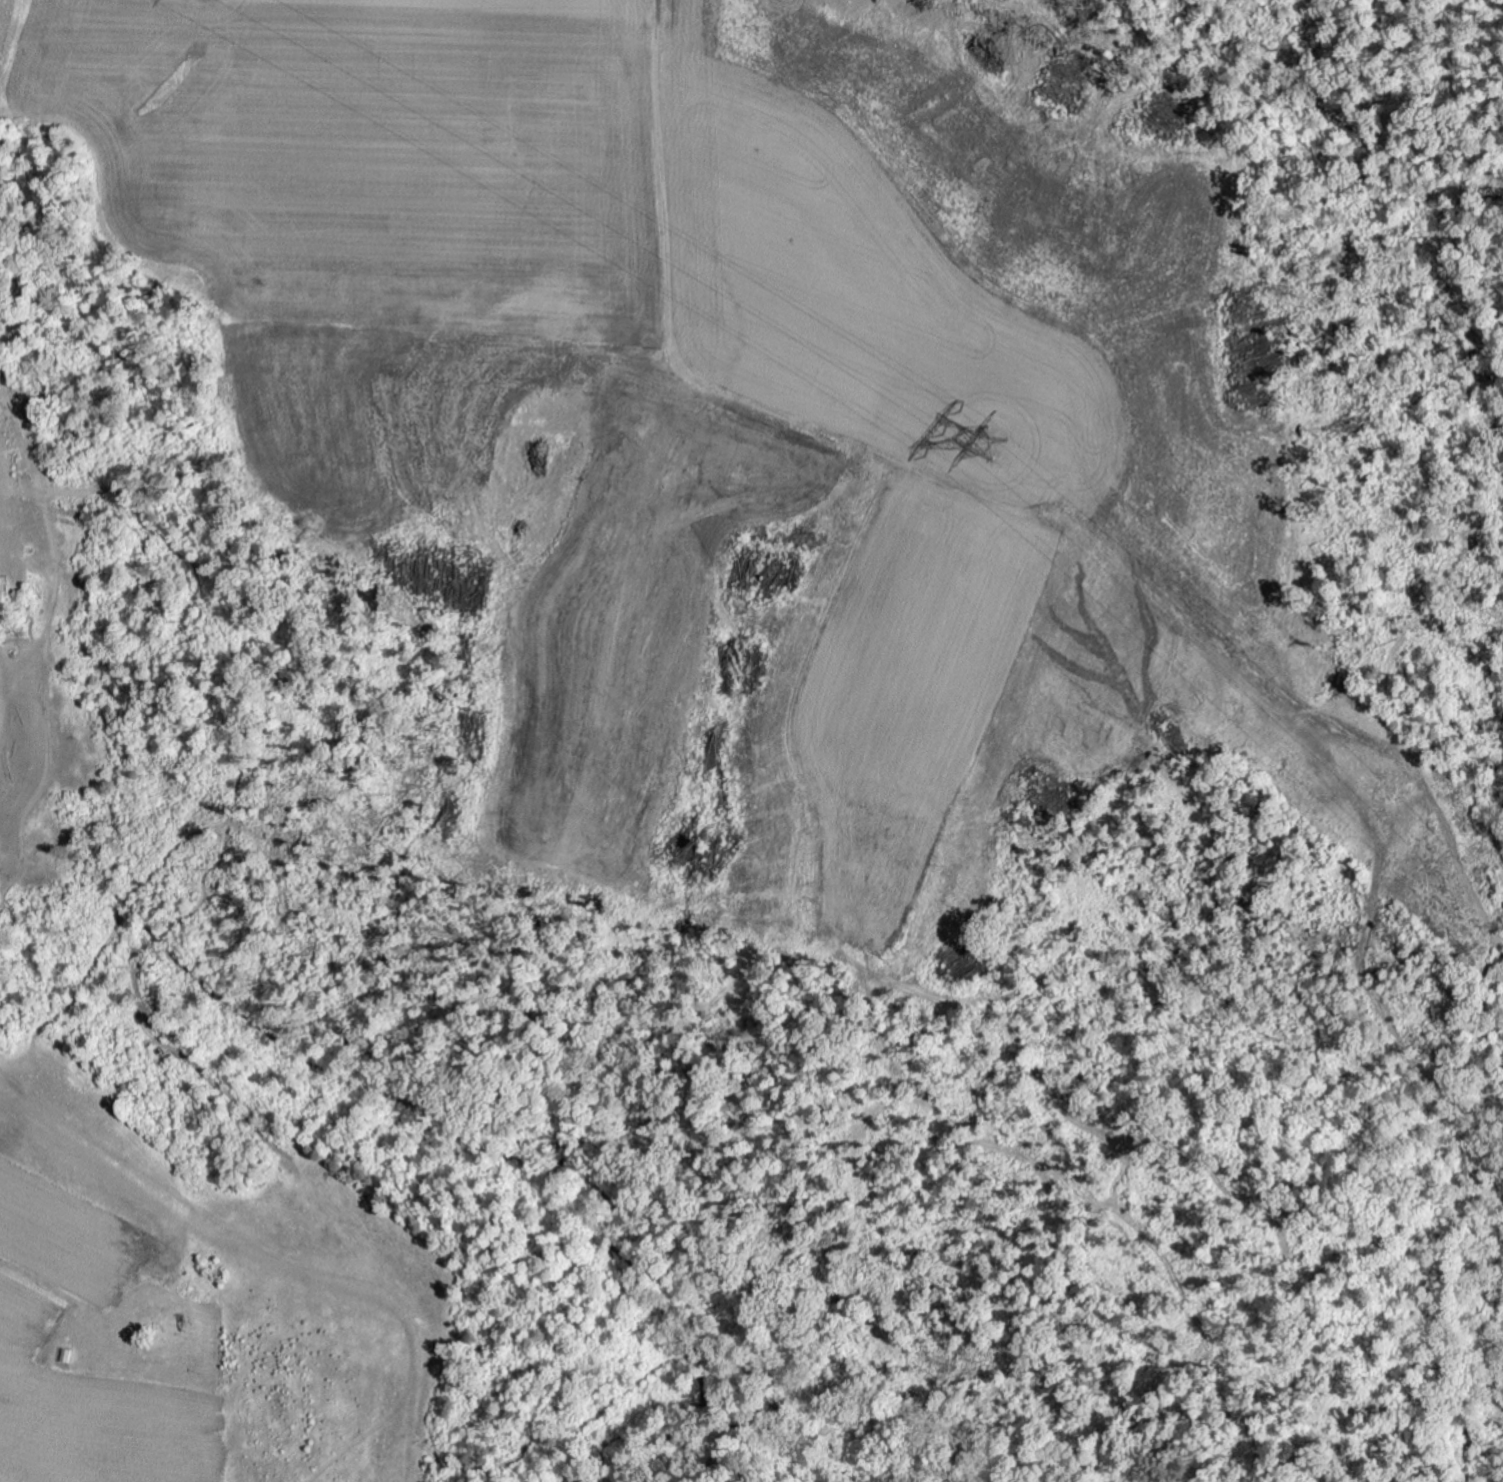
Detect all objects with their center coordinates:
power tower: (1005, 453)

